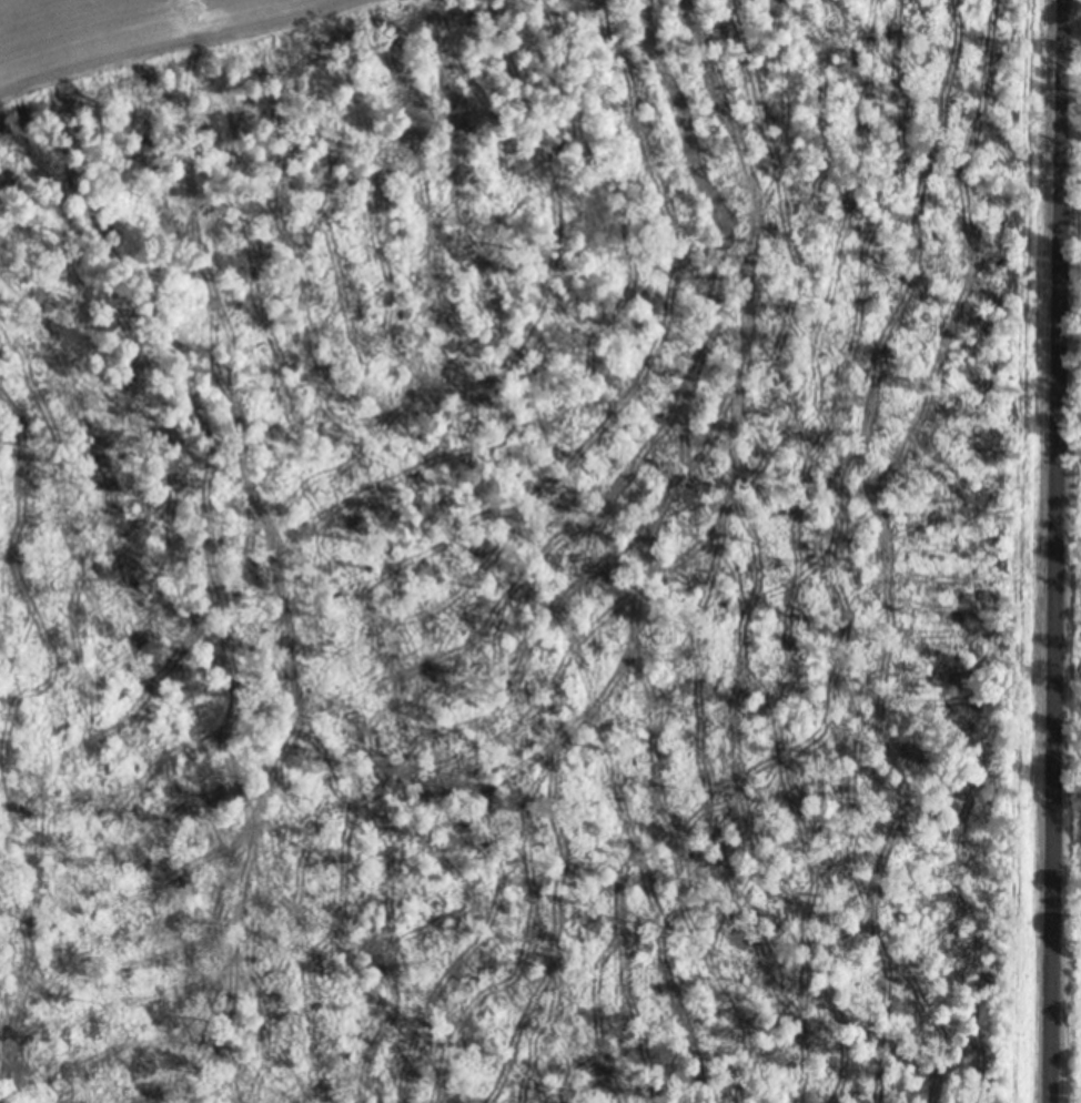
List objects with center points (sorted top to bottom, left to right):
road: (1065, 551)

